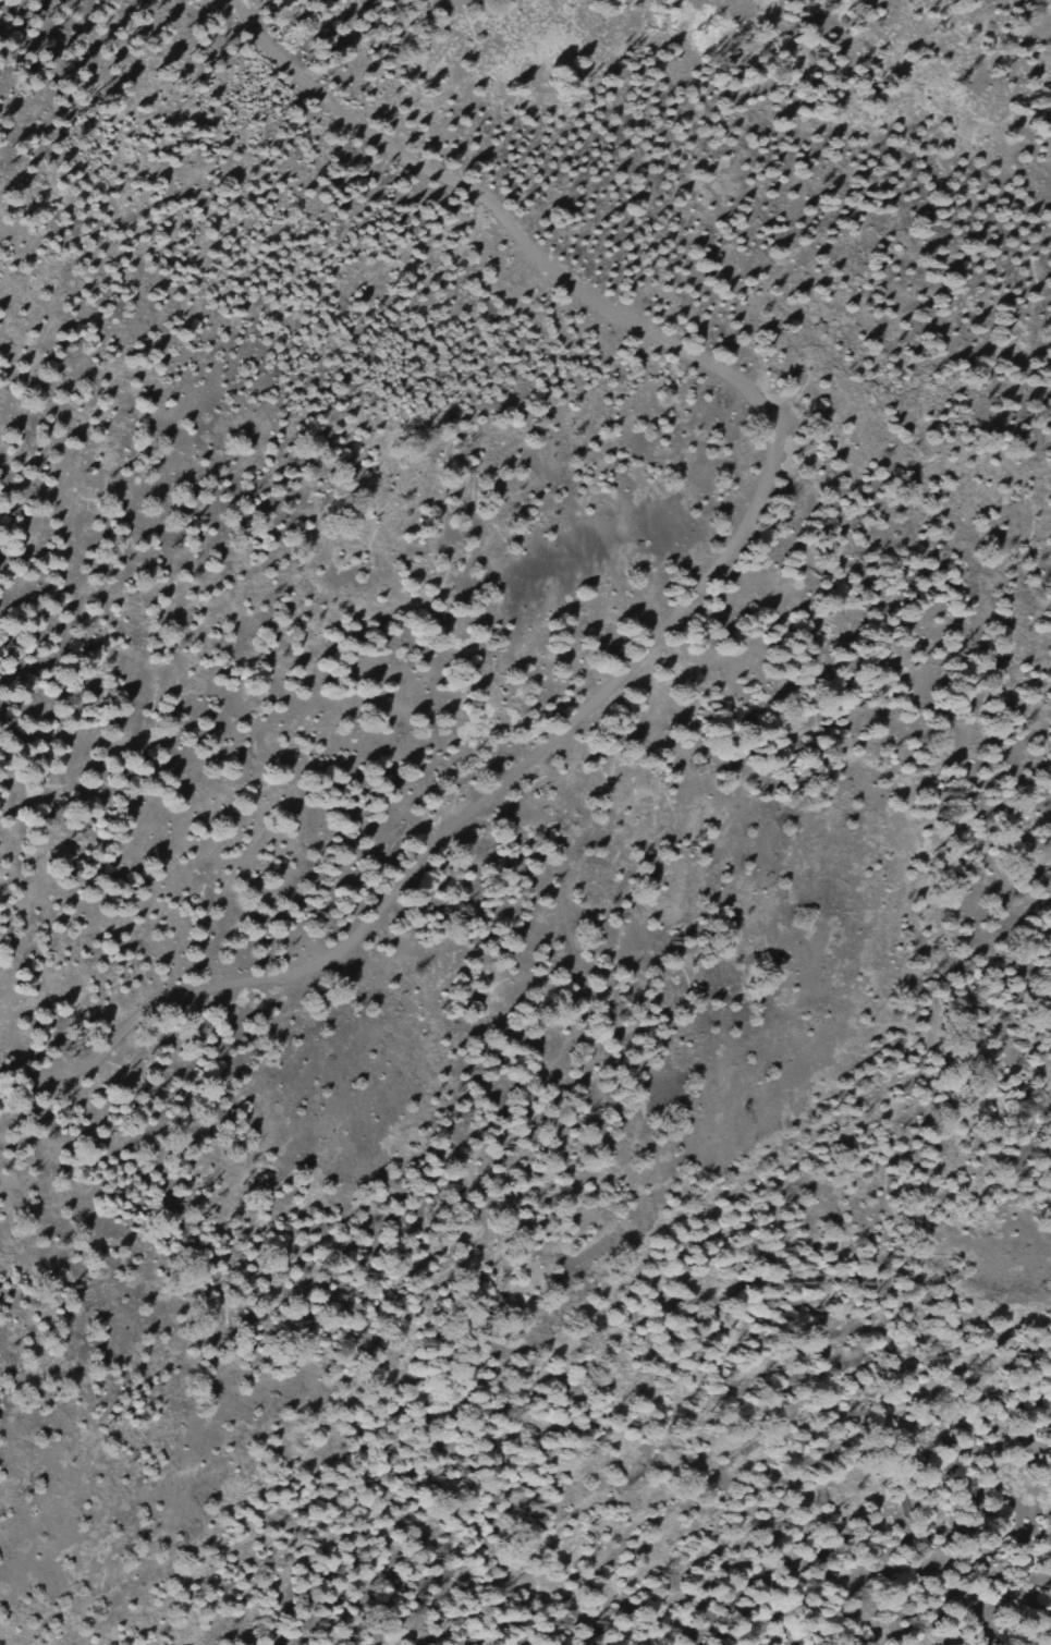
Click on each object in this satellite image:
road: (708, 604)

